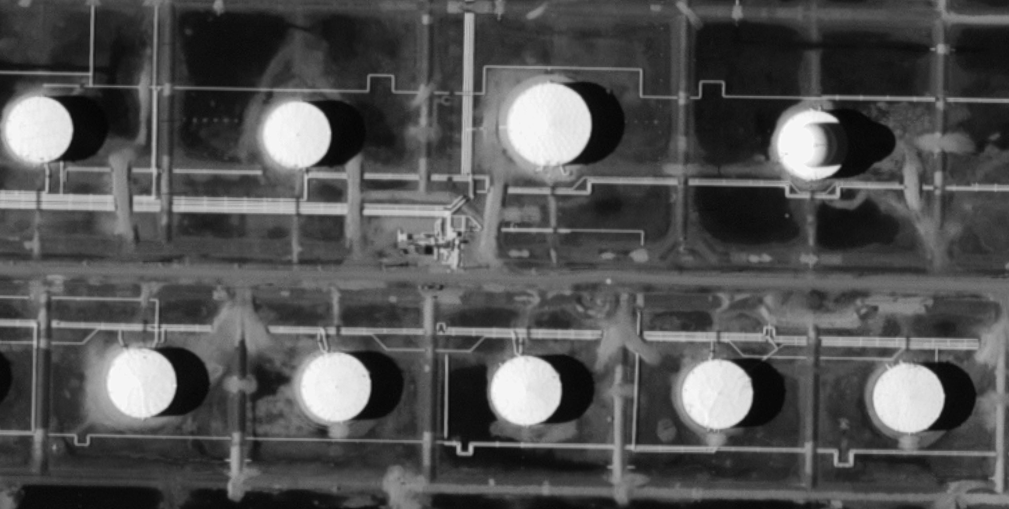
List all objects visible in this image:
building: (546, 122)
storage tank: (546, 122)
building: (37, 129)
storage tank: (37, 129)
building: (297, 131)
storage tank: (297, 131)
building: (809, 143)
storage tank: (809, 143)
road: (504, 277)
building: (140, 382)
storage tank: (140, 382)
building: (332, 386)
storage tank: (332, 386)
building: (527, 389)
storage tank: (527, 389)
building: (719, 391)
storage tank: (719, 391)
building: (908, 396)
storage tank: (908, 396)
road: (504, 485)

